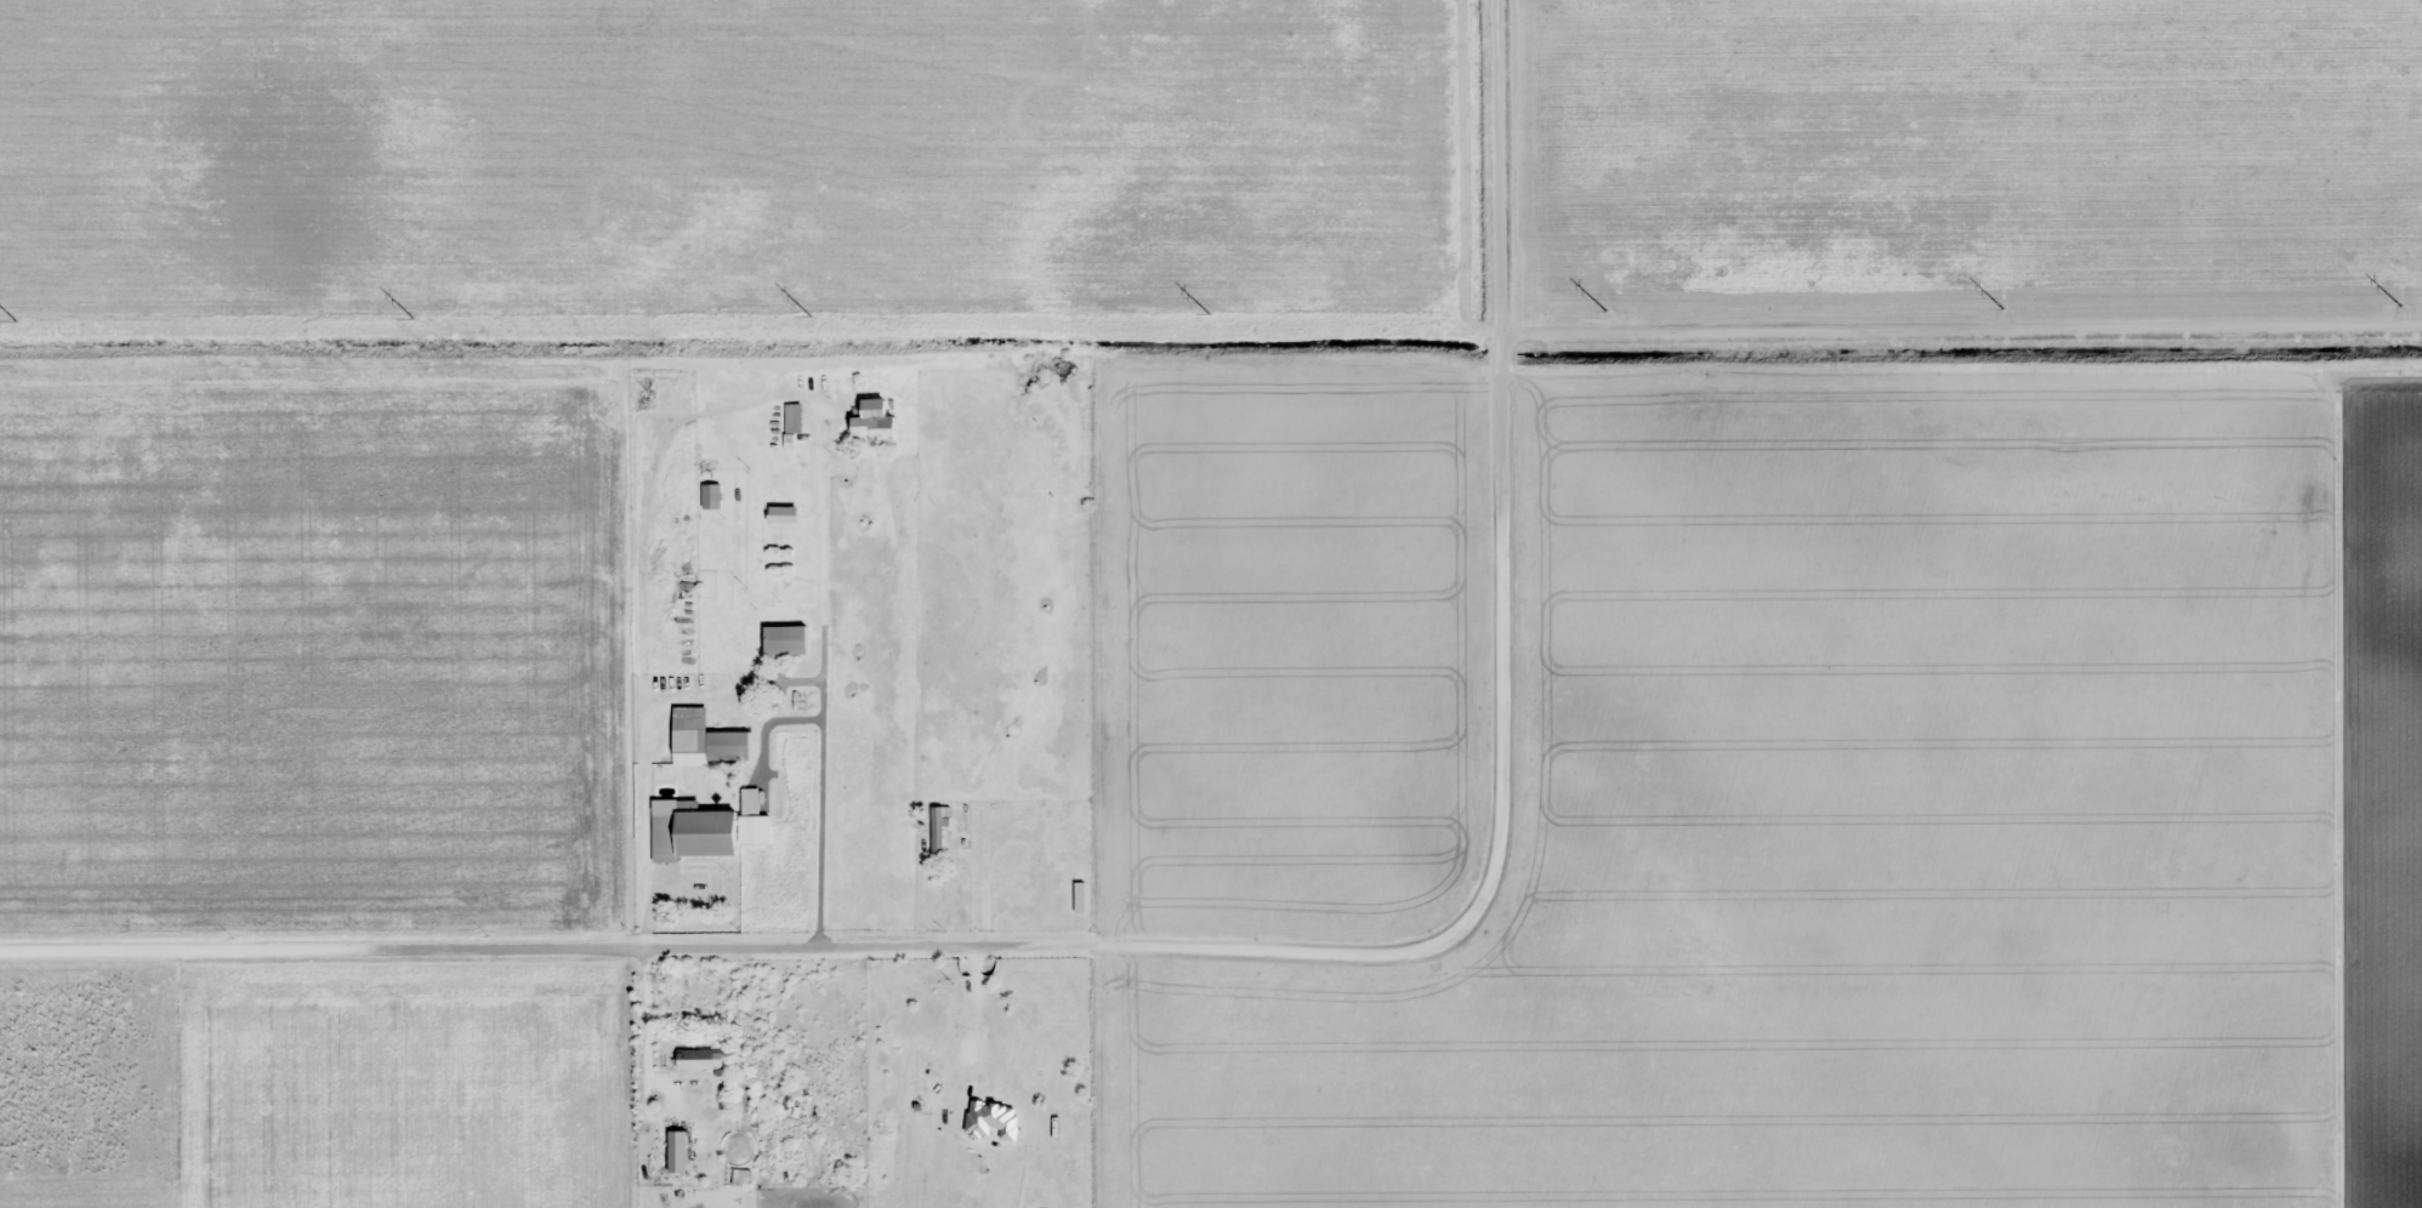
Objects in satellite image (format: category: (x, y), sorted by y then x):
road: (2388, 165)
road: (1476, 170)
power tower: (2407, 315)
power tower: (2009, 319)
power tower: (1613, 321)
power tower: (818, 323)
power tower: (1215, 323)
power tower: (23, 324)
power tower: (420, 324)
road: (1949, 334)
building: (794, 417)
building: (874, 420)
building: (711, 495)
building: (785, 639)
road: (4, 648)
building: (705, 740)
road: (2313, 769)
building: (693, 831)
building: (937, 833)
building: (1079, 896)
road: (1000, 924)
building: (695, 1059)
road: (1071, 1066)
building: (919, 1075)

